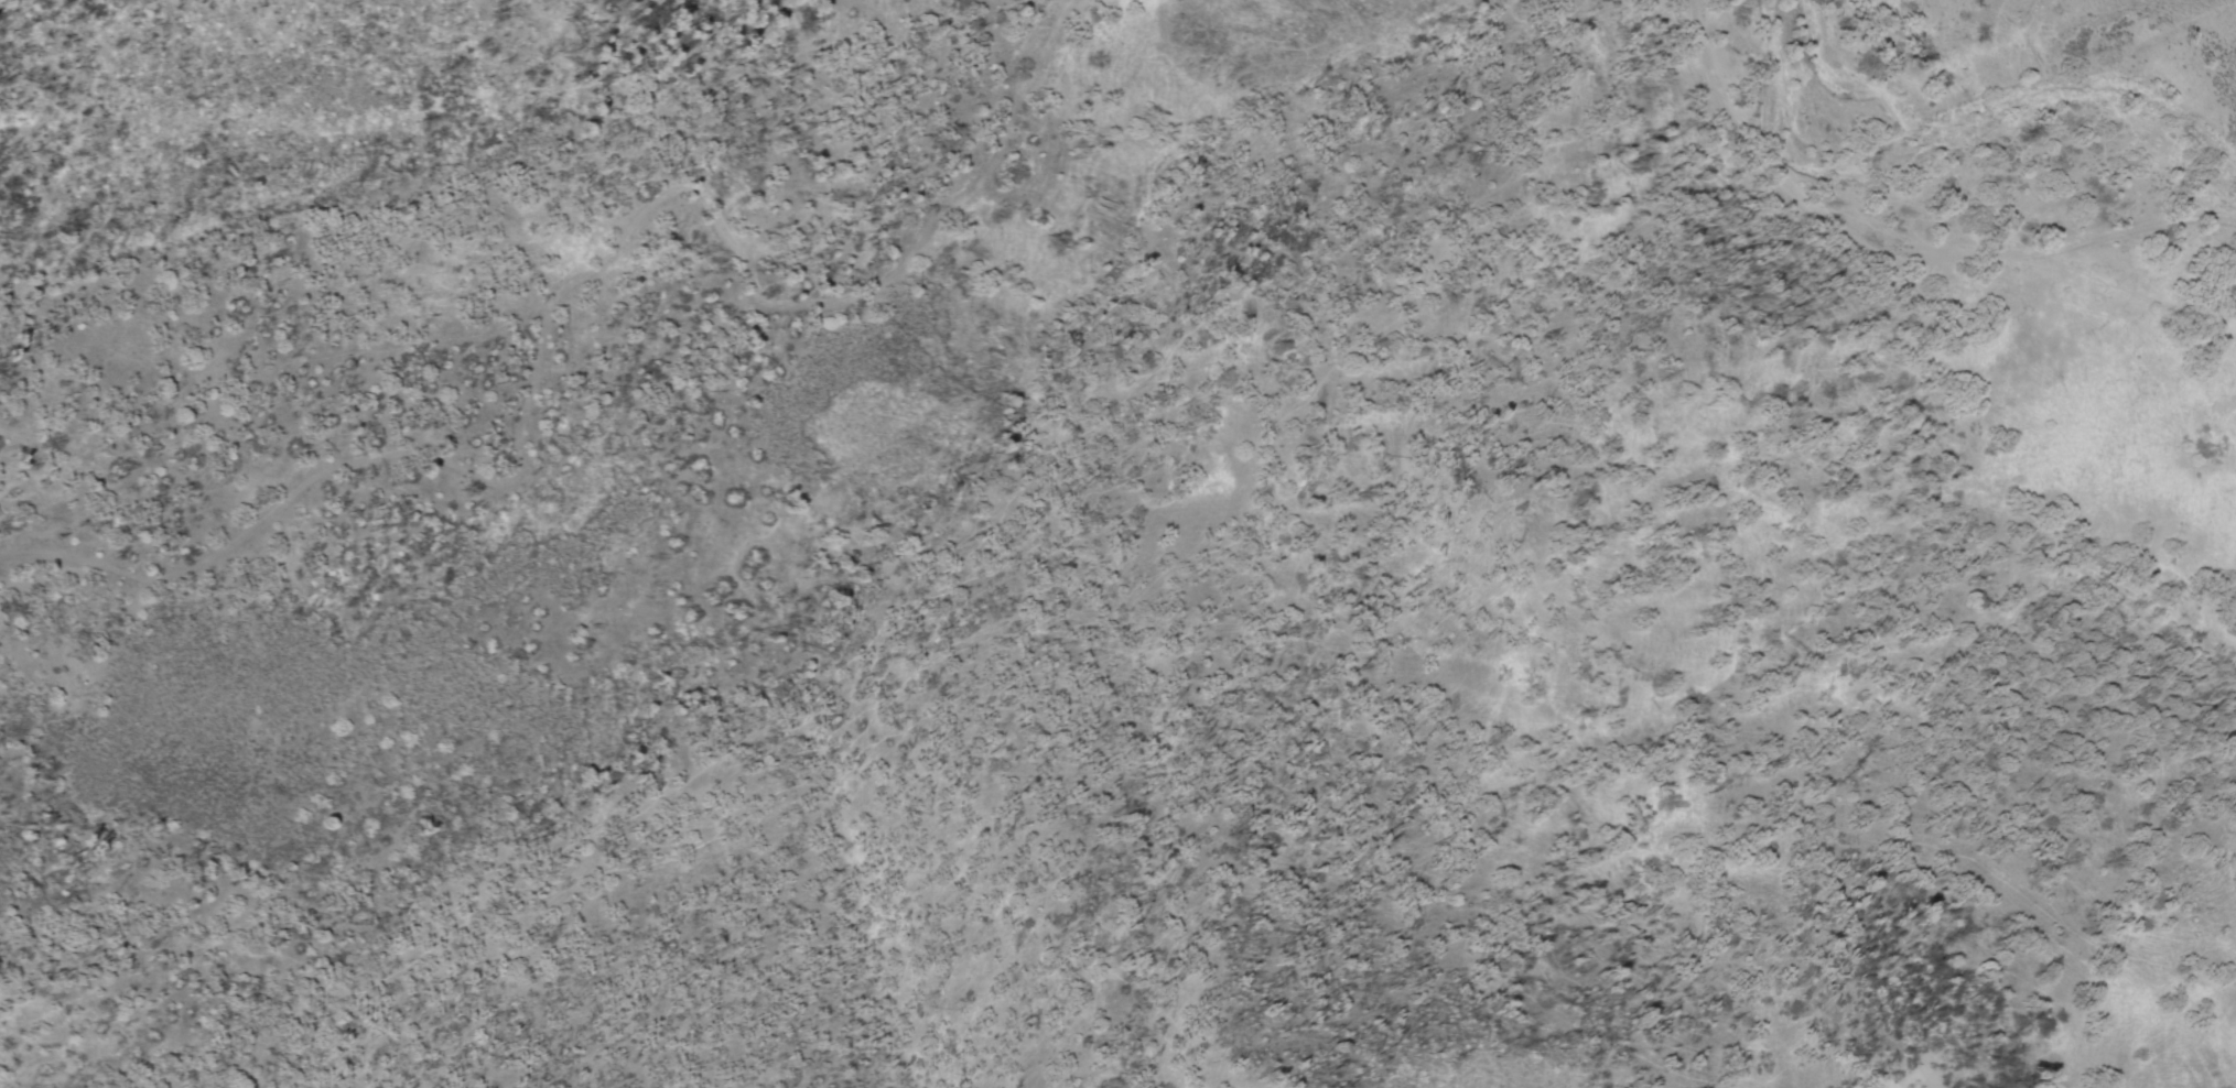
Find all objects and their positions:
road: (1892, 268)

